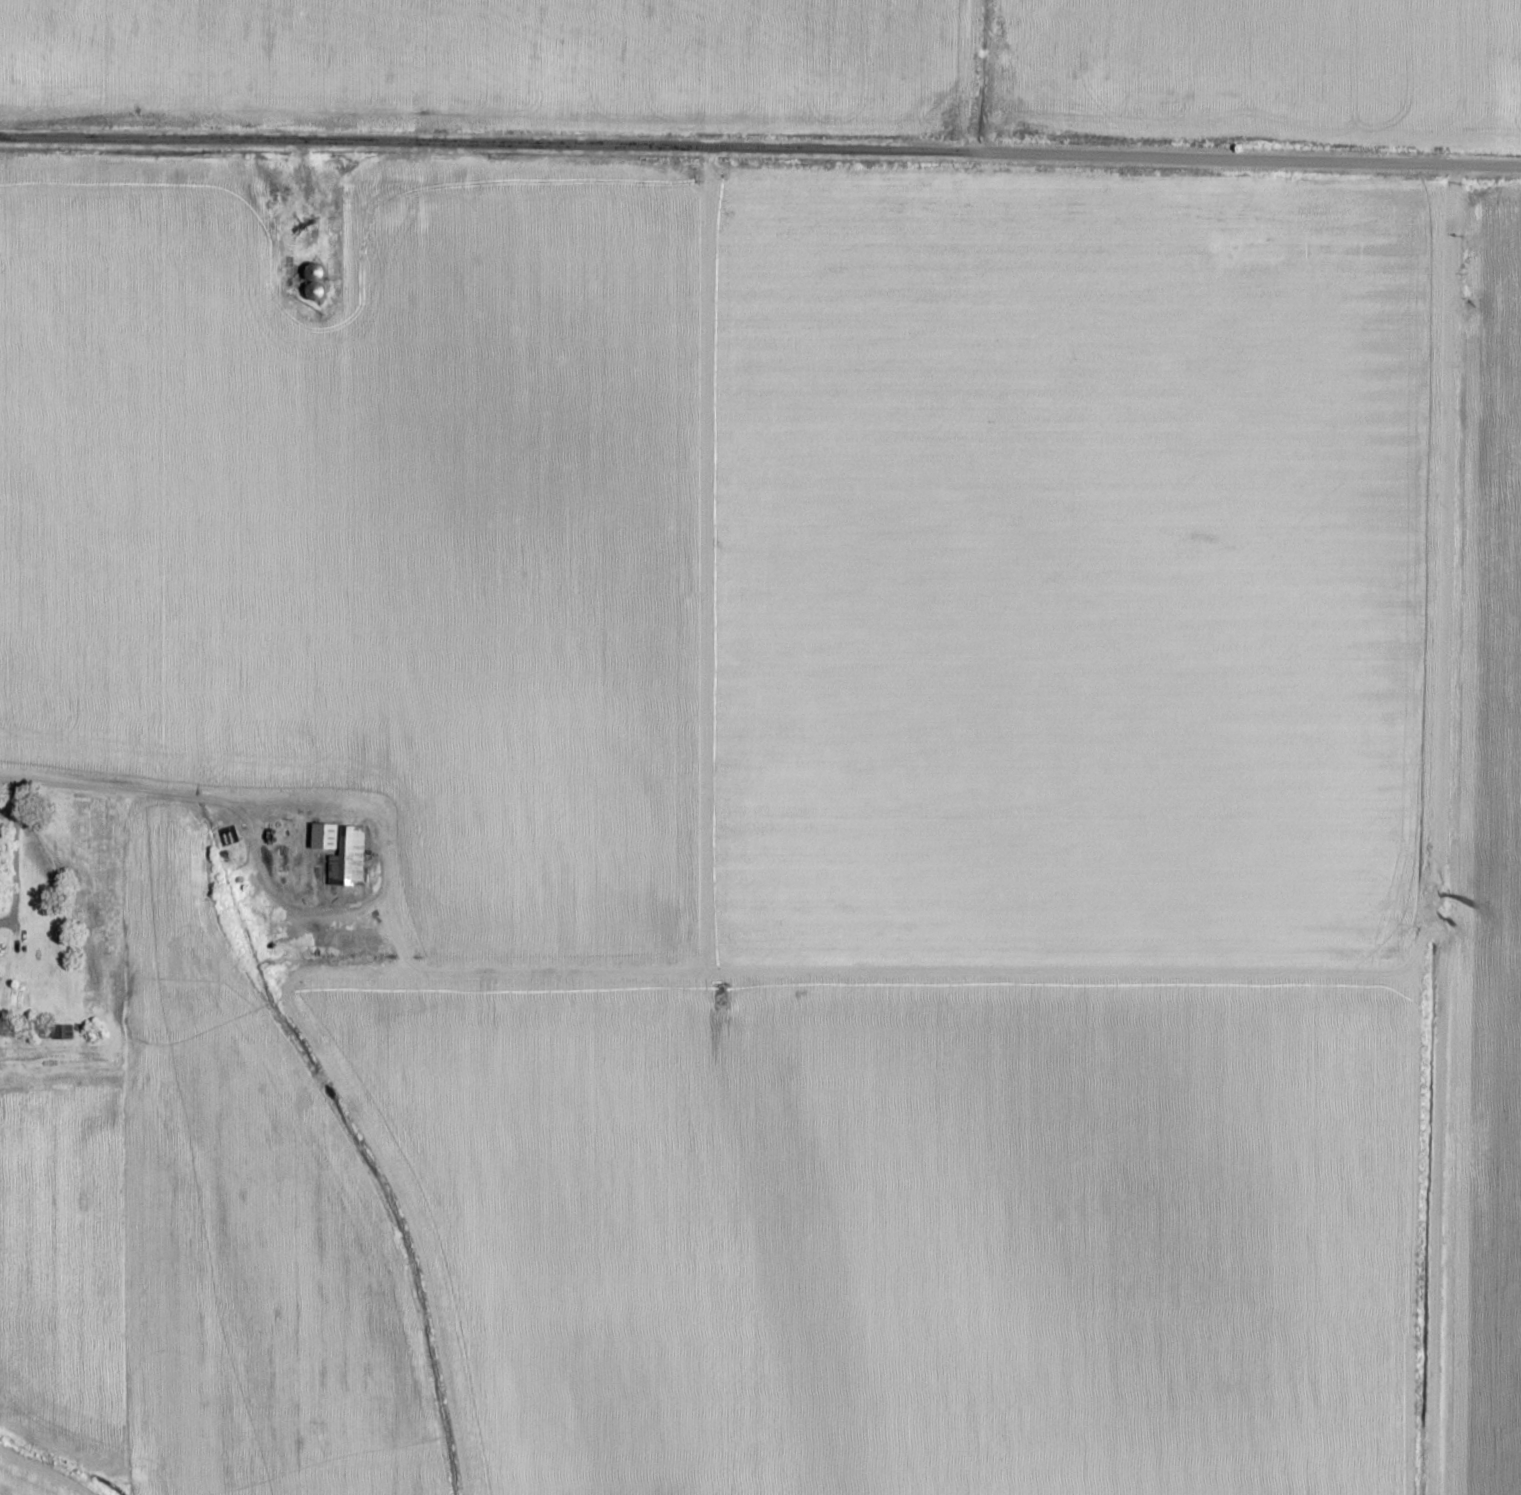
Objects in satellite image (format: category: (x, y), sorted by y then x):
road: (984, 77)
road: (760, 151)
building: (315, 279)
road: (118, 792)
road: (1437, 831)
building: (340, 853)
road: (379, 854)
building: (63, 1033)
road: (41, 1471)

